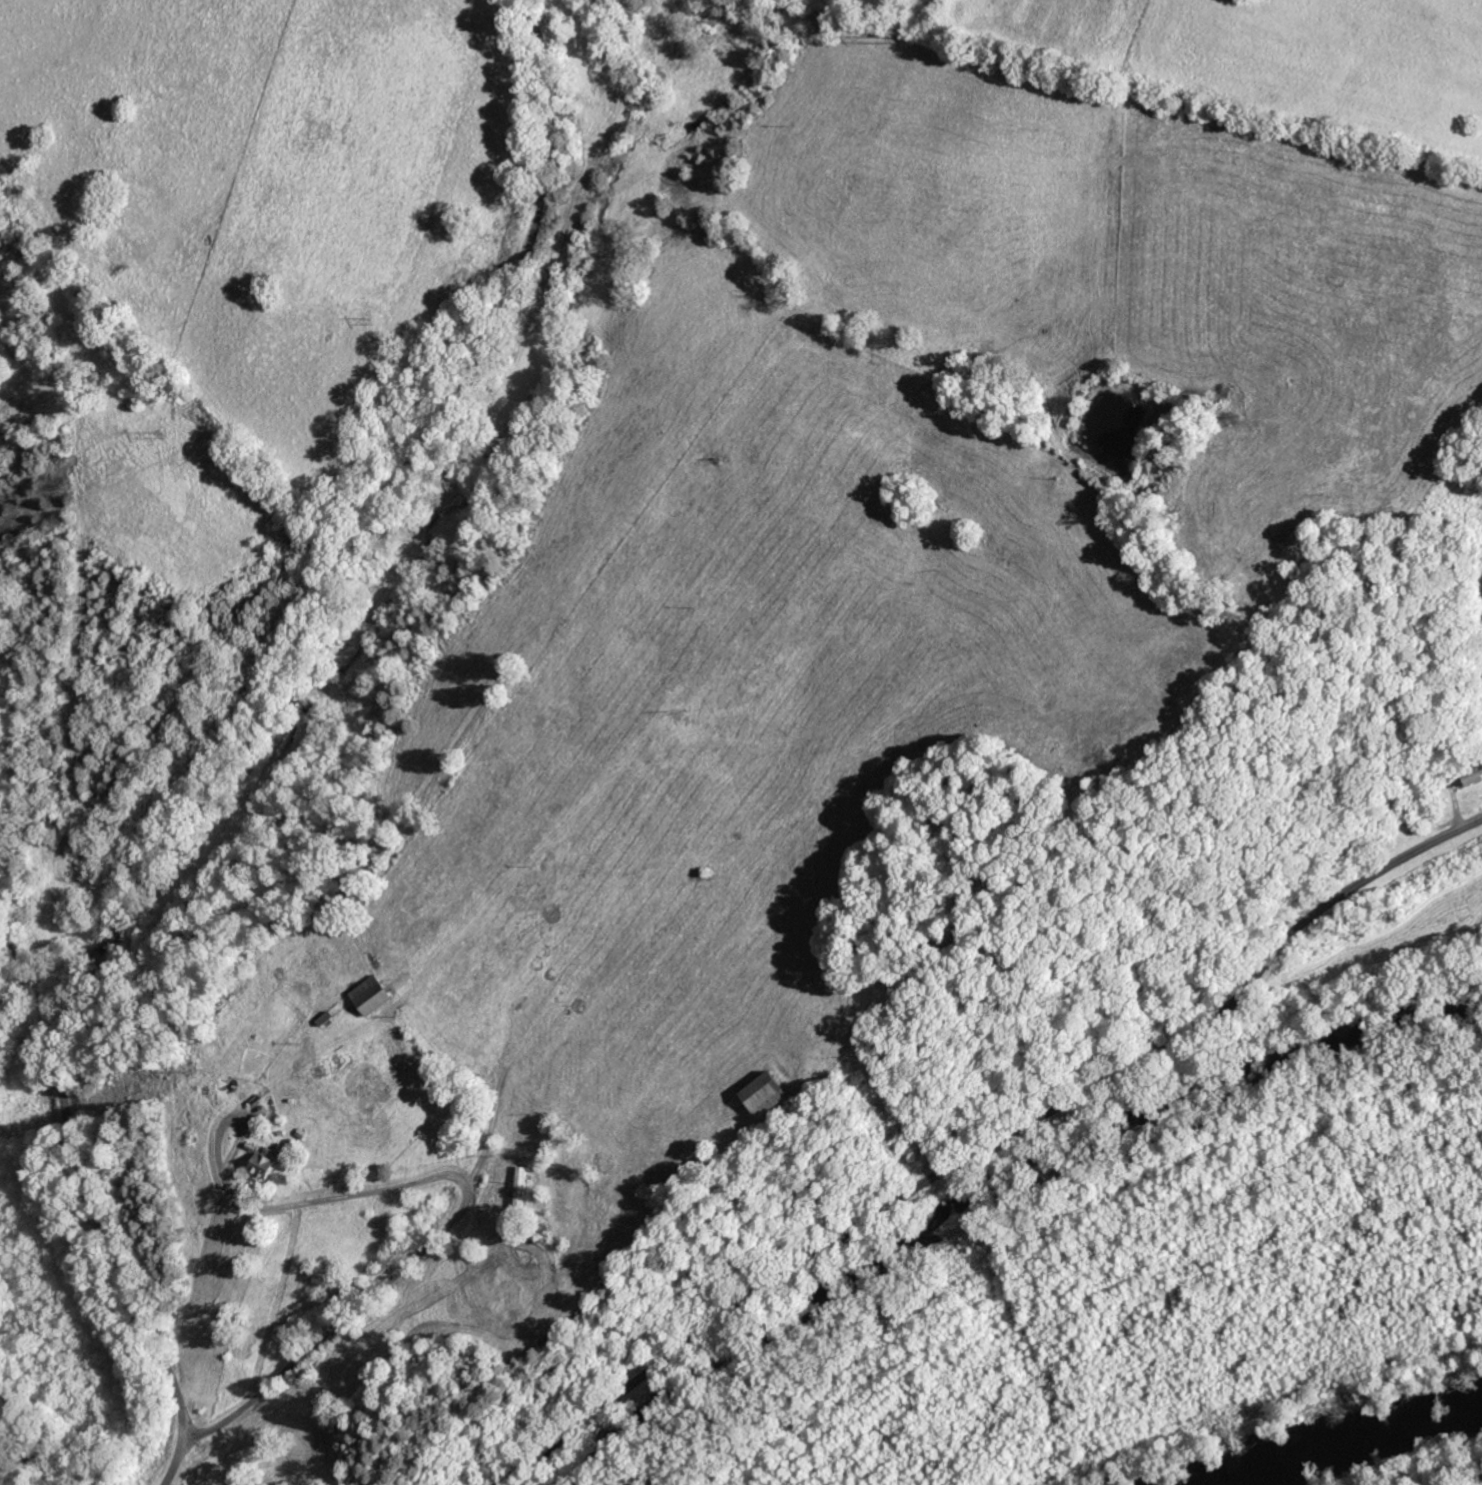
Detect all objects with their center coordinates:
road: (1274, 700)
road: (249, 738)
building: (375, 995)
building: (772, 1091)
road: (988, 1145)
building: (268, 1160)
road: (442, 1230)
river: (1365, 1435)

